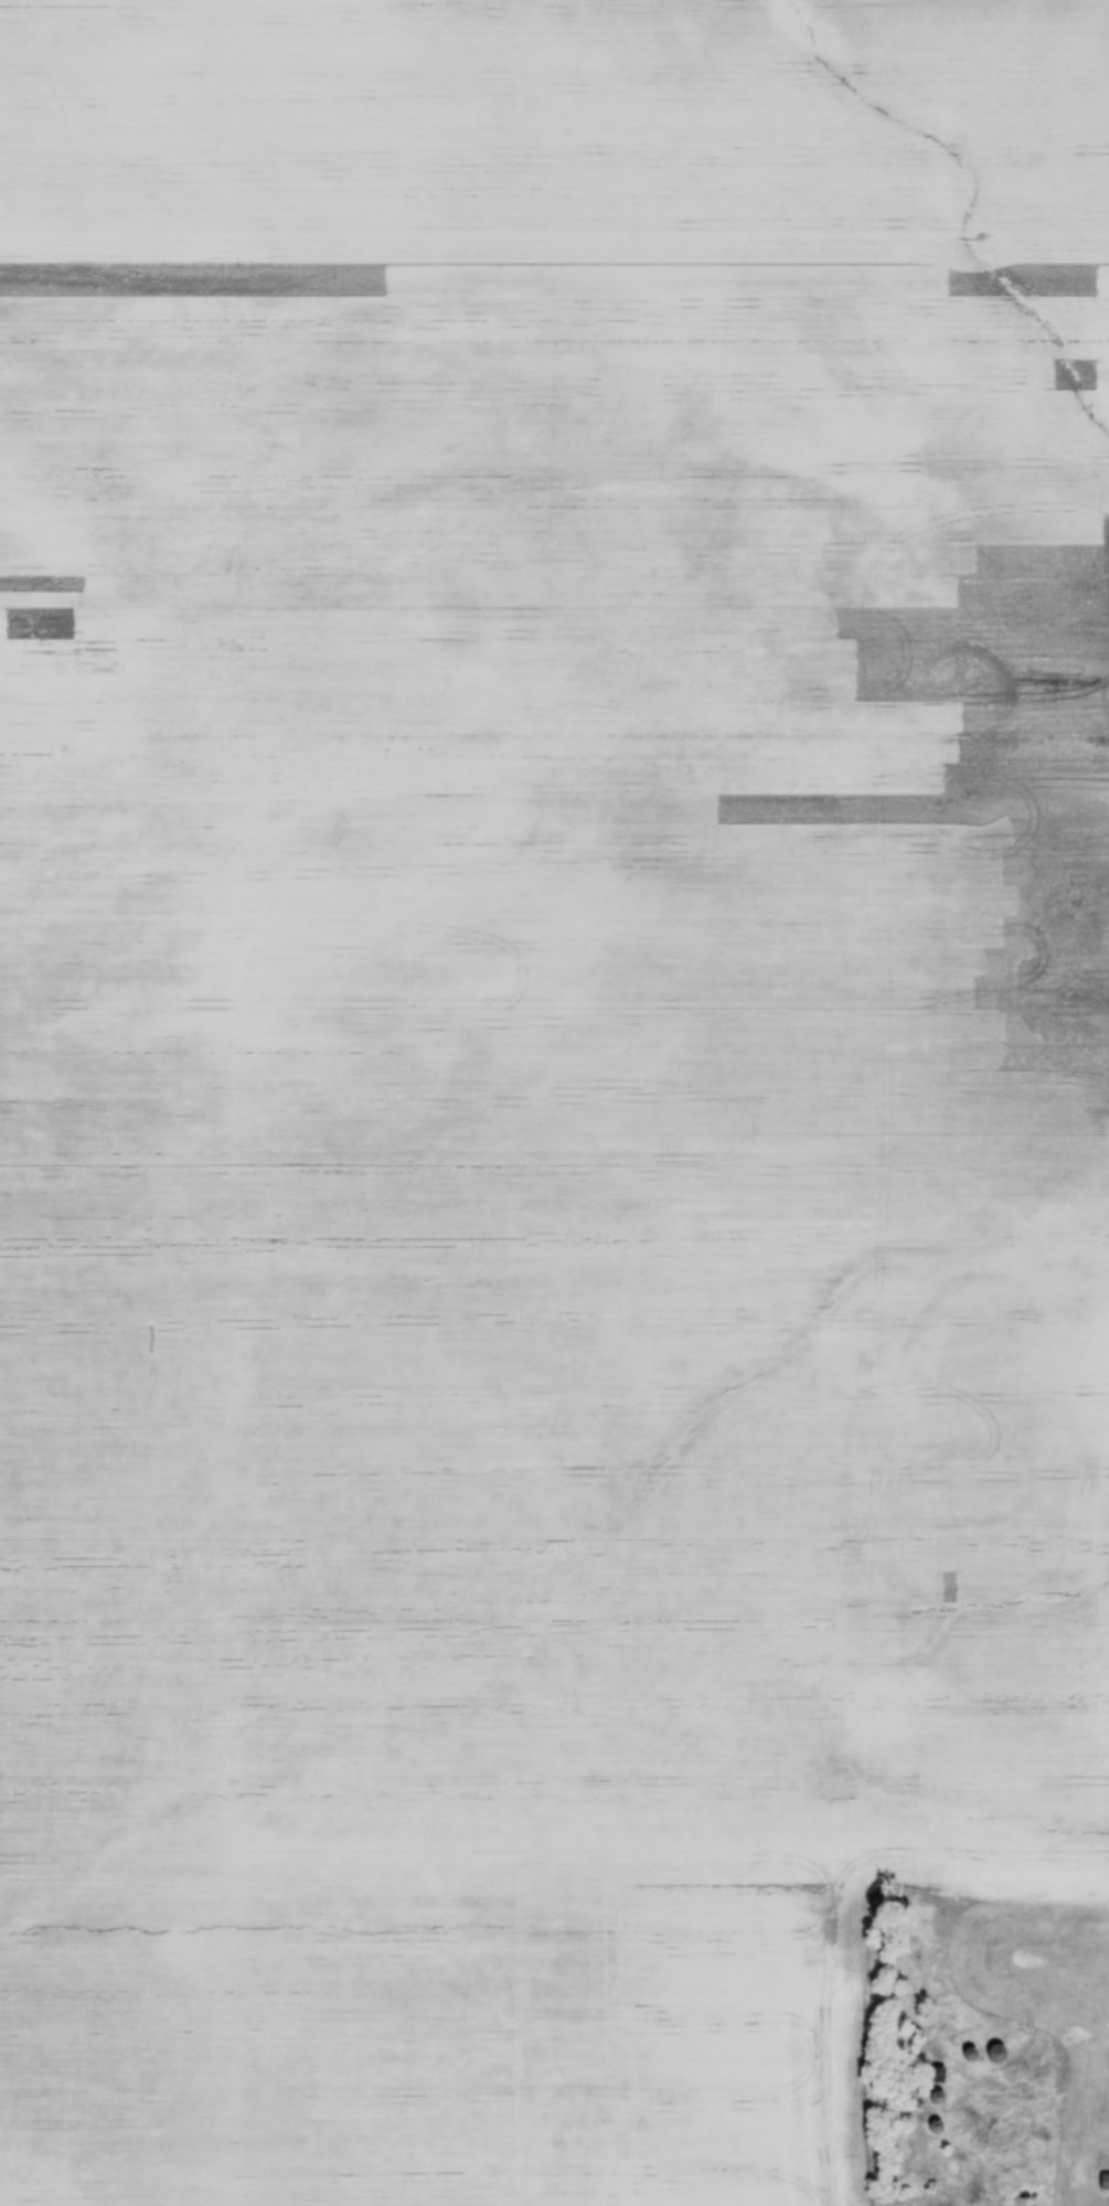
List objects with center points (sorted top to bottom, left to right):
building: (998, 2055)
building: (970, 2056)
building: (938, 2076)
building: (939, 2099)
building: (937, 2129)
building: (1105, 2183)

